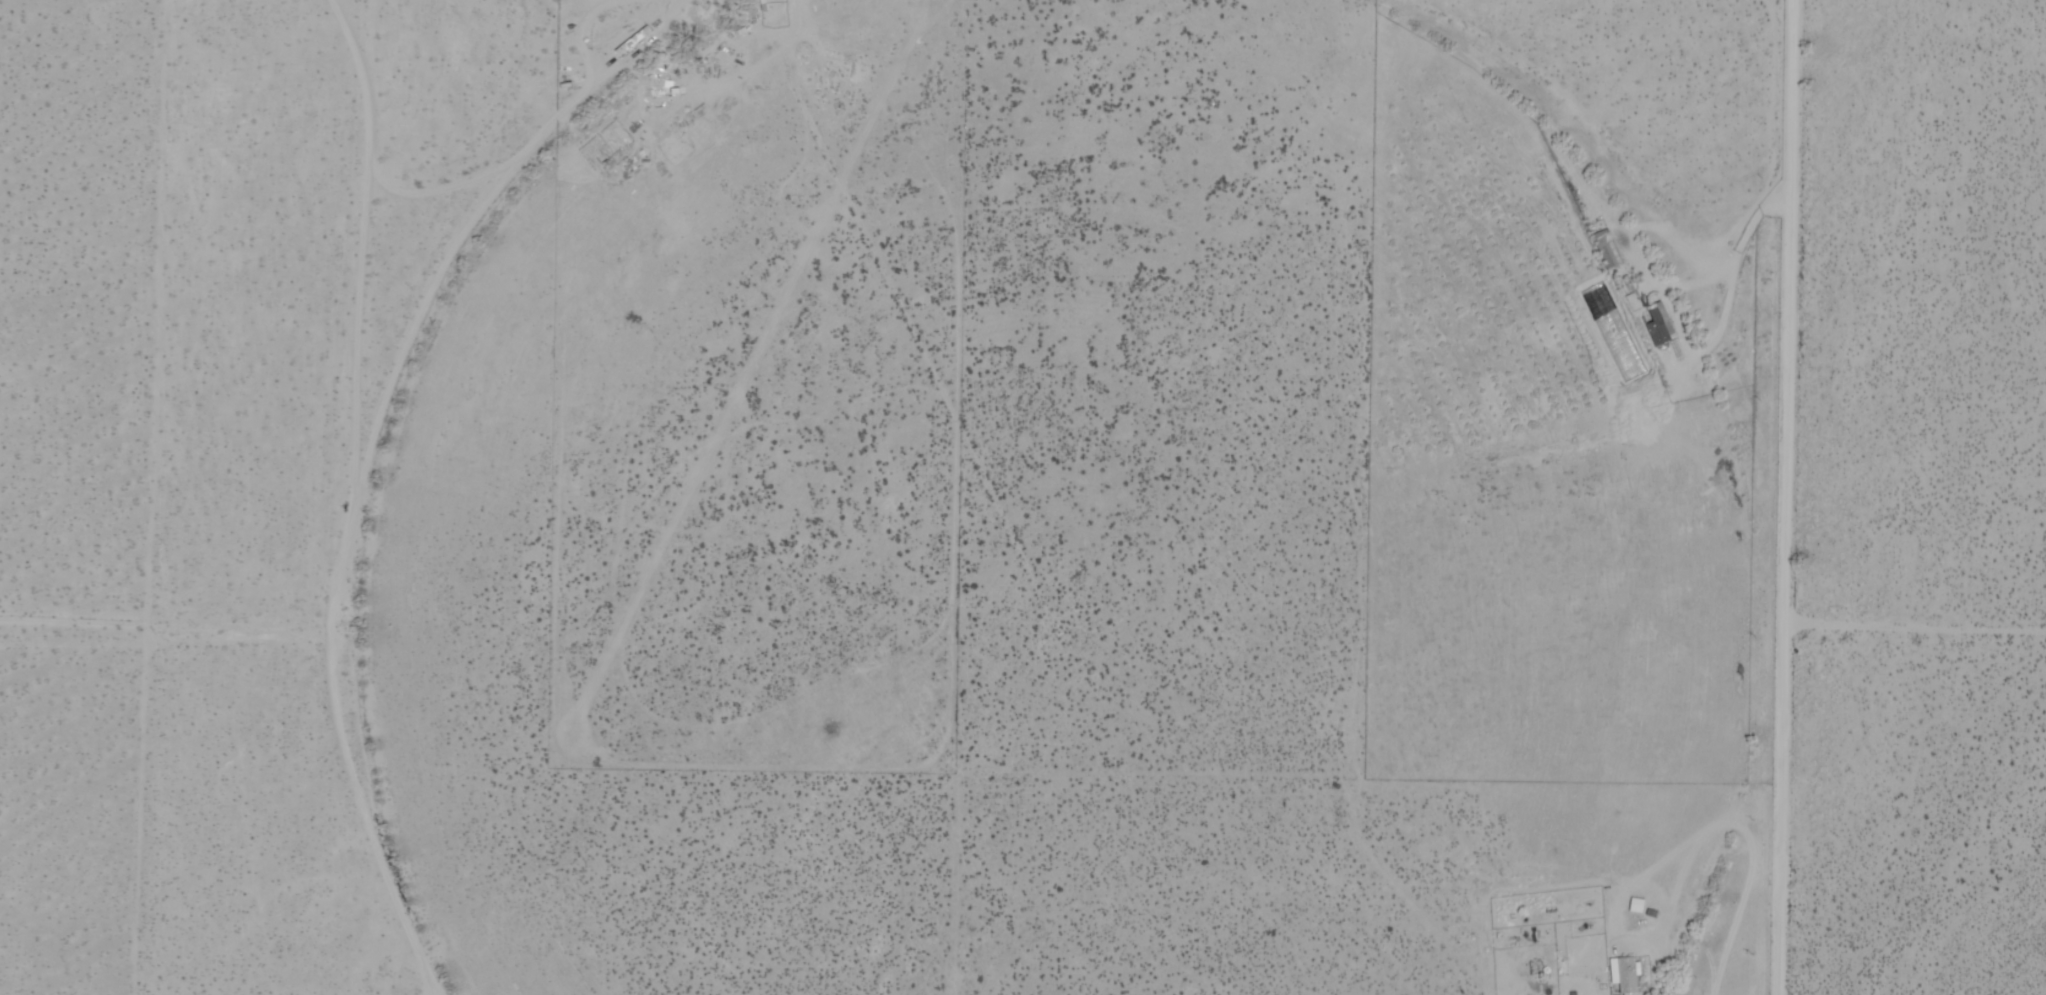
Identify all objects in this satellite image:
crop: (1500, 280)
road: (1781, 497)

